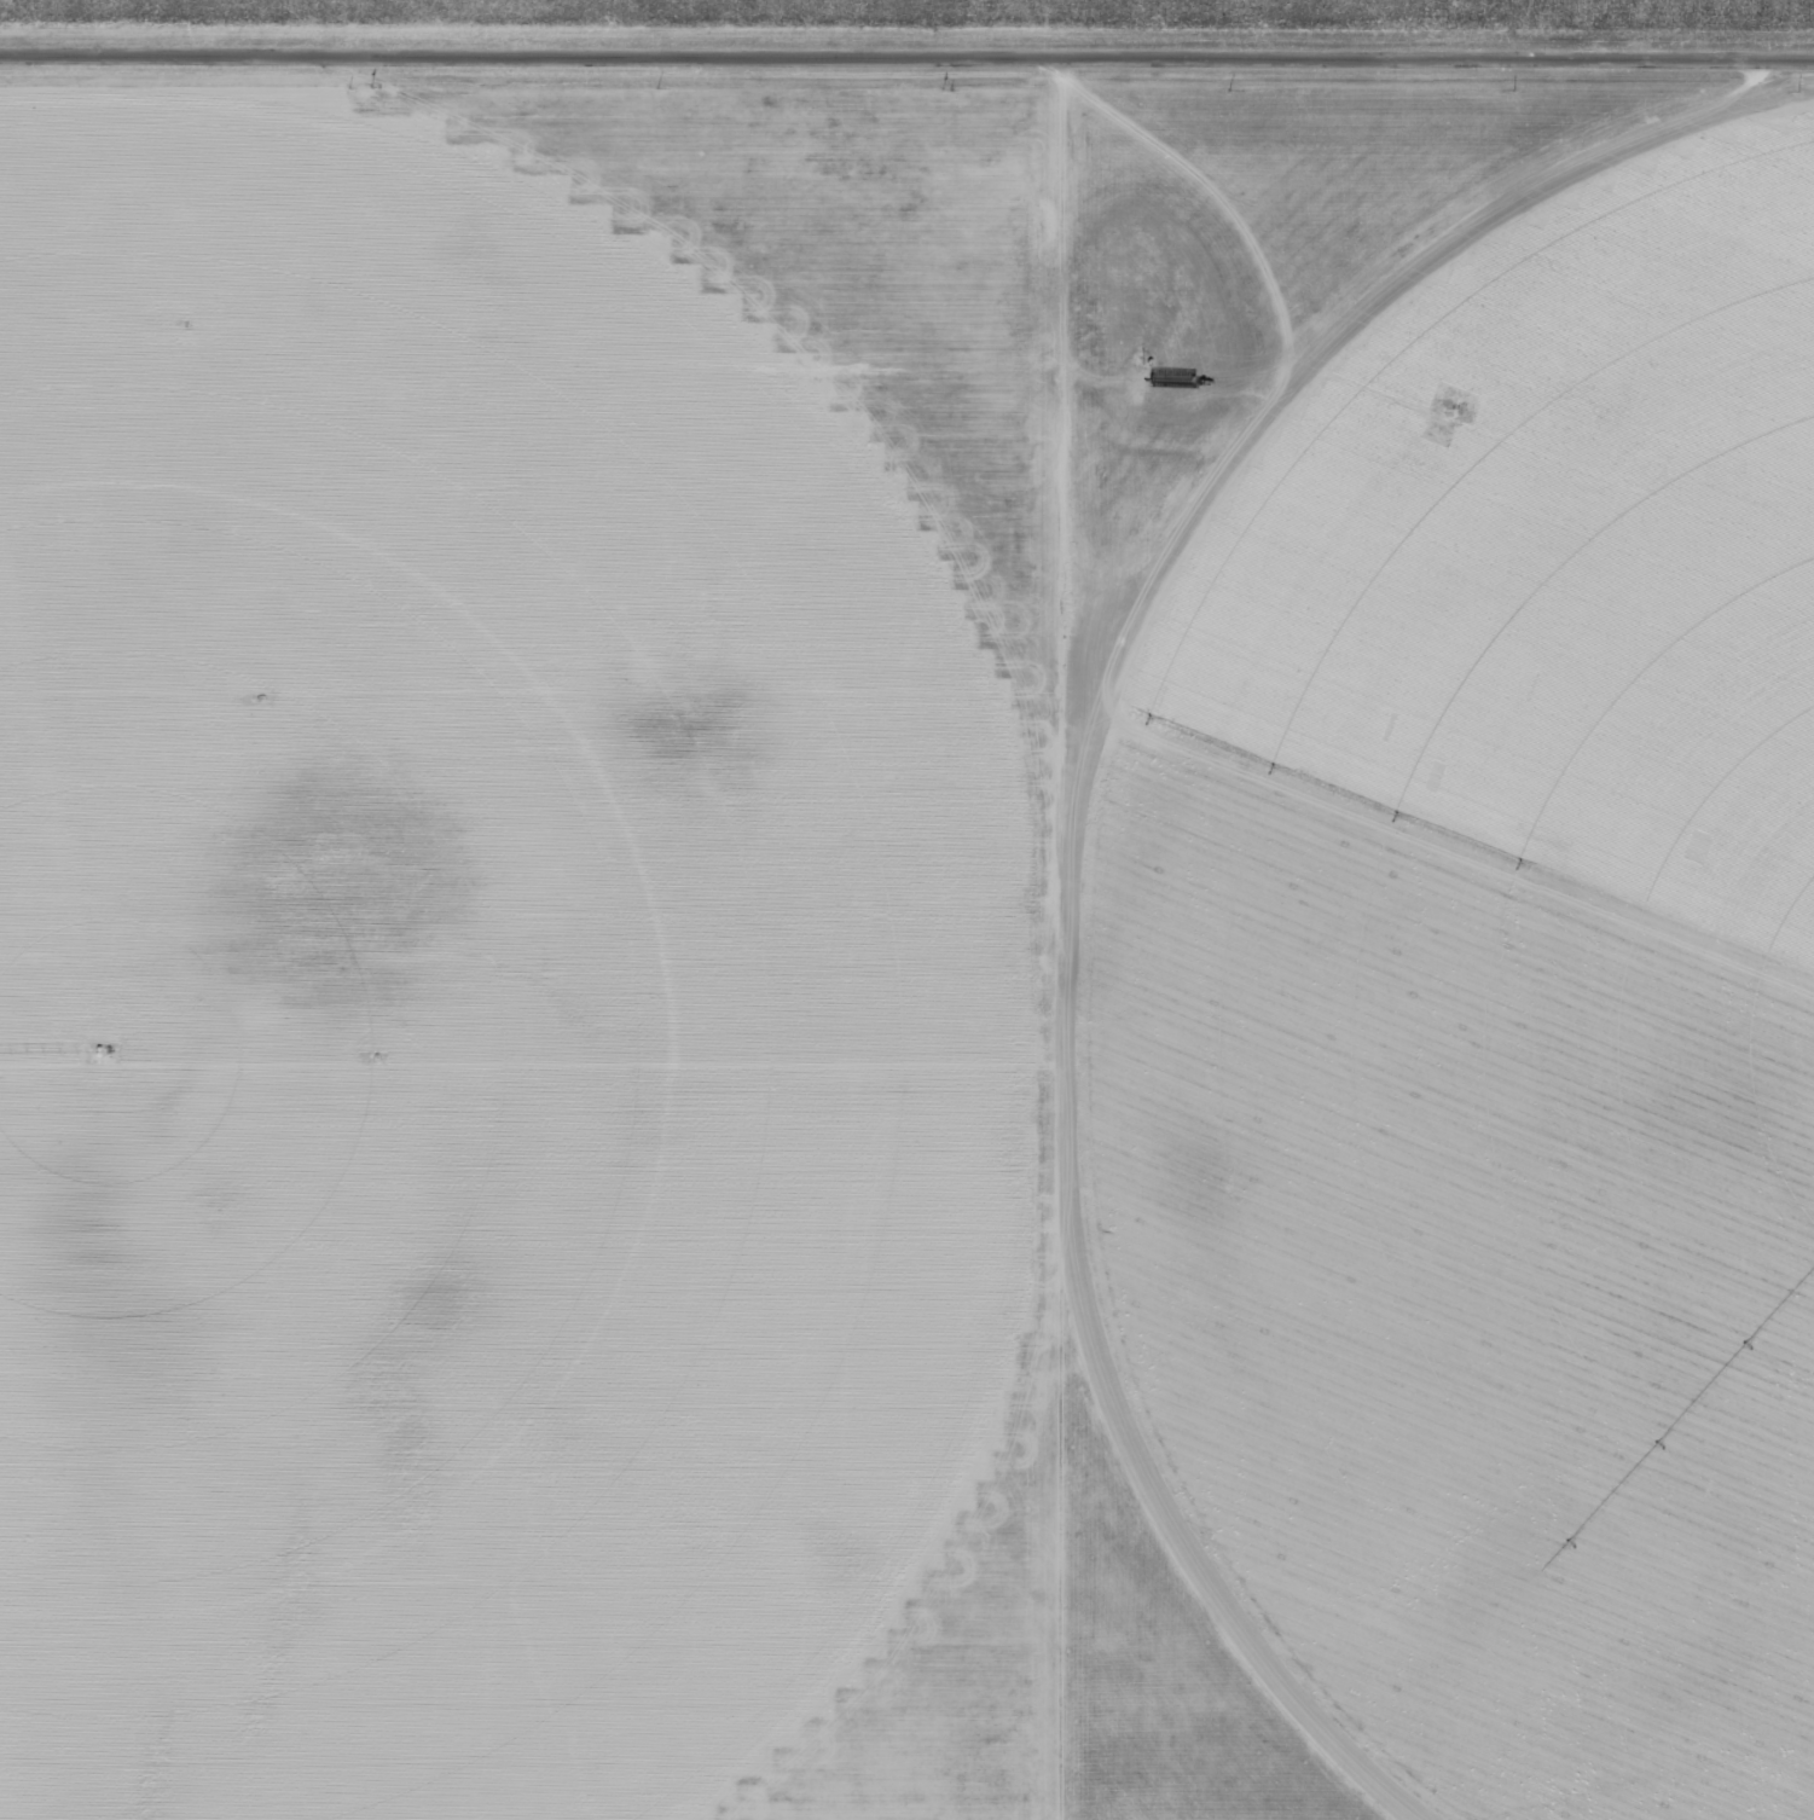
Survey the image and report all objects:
road: (906, 54)

